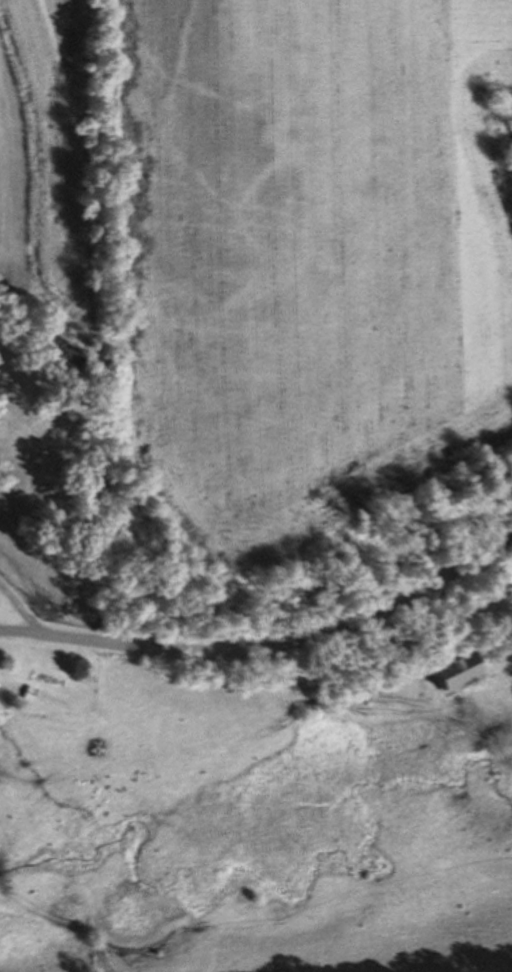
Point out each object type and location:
road: (20, 611)
road: (267, 653)
building: (457, 682)
building: (28, 692)

